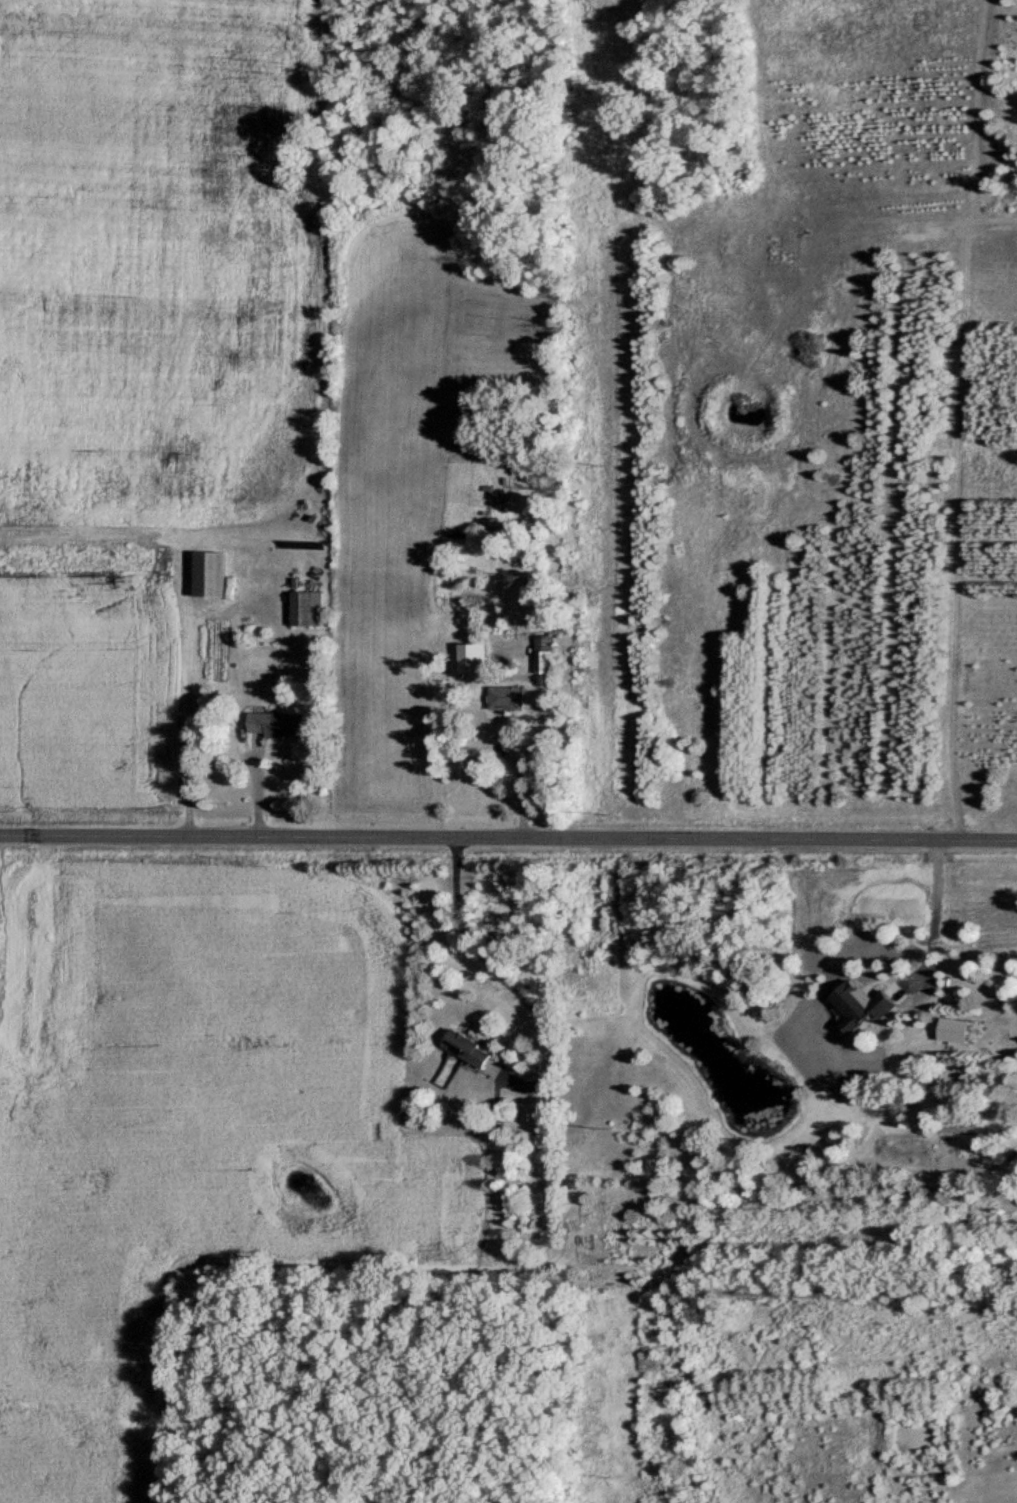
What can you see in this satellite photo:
building: (210, 573)
building: (306, 608)
building: (544, 654)
building: (507, 697)
building: (277, 724)
road: (508, 839)
road: (511, 979)
building: (467, 1049)

